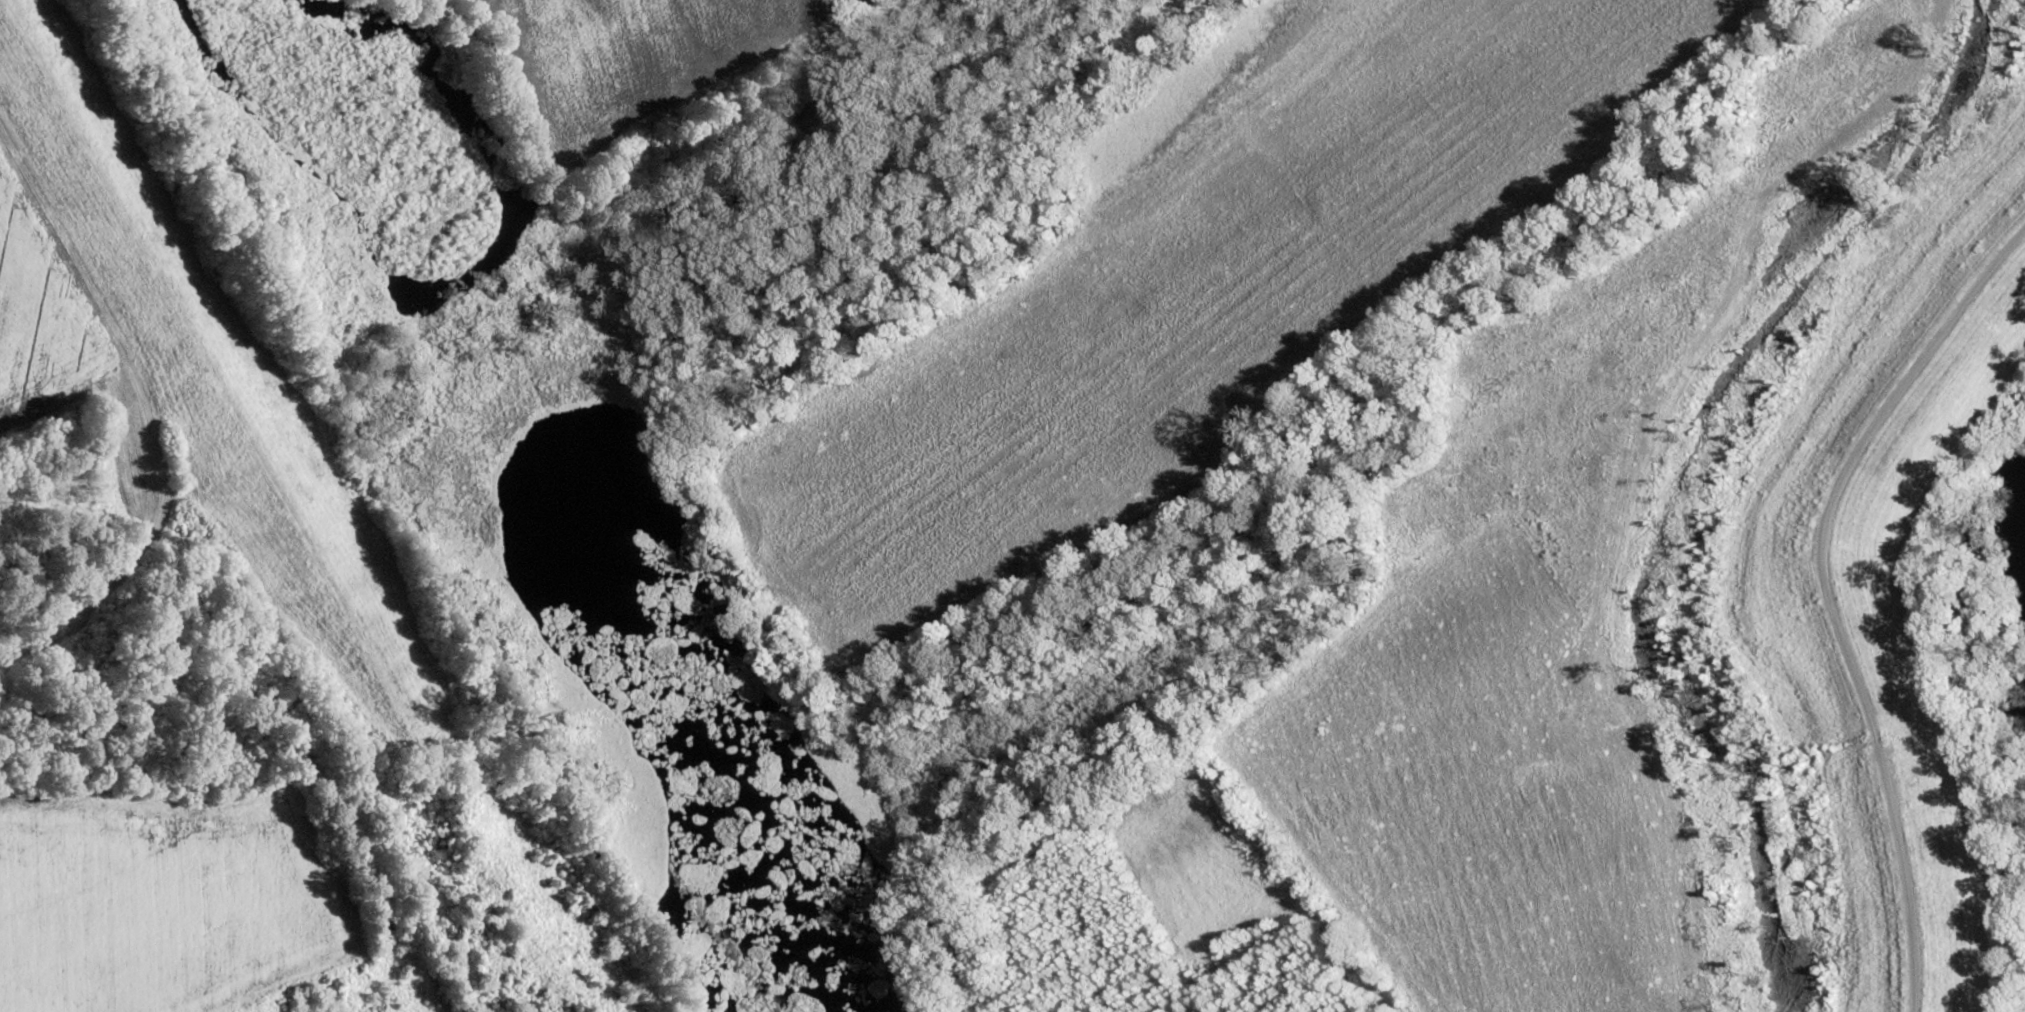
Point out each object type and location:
road: (42, 393)
road: (63, 409)
road: (225, 583)
road: (1829, 594)

